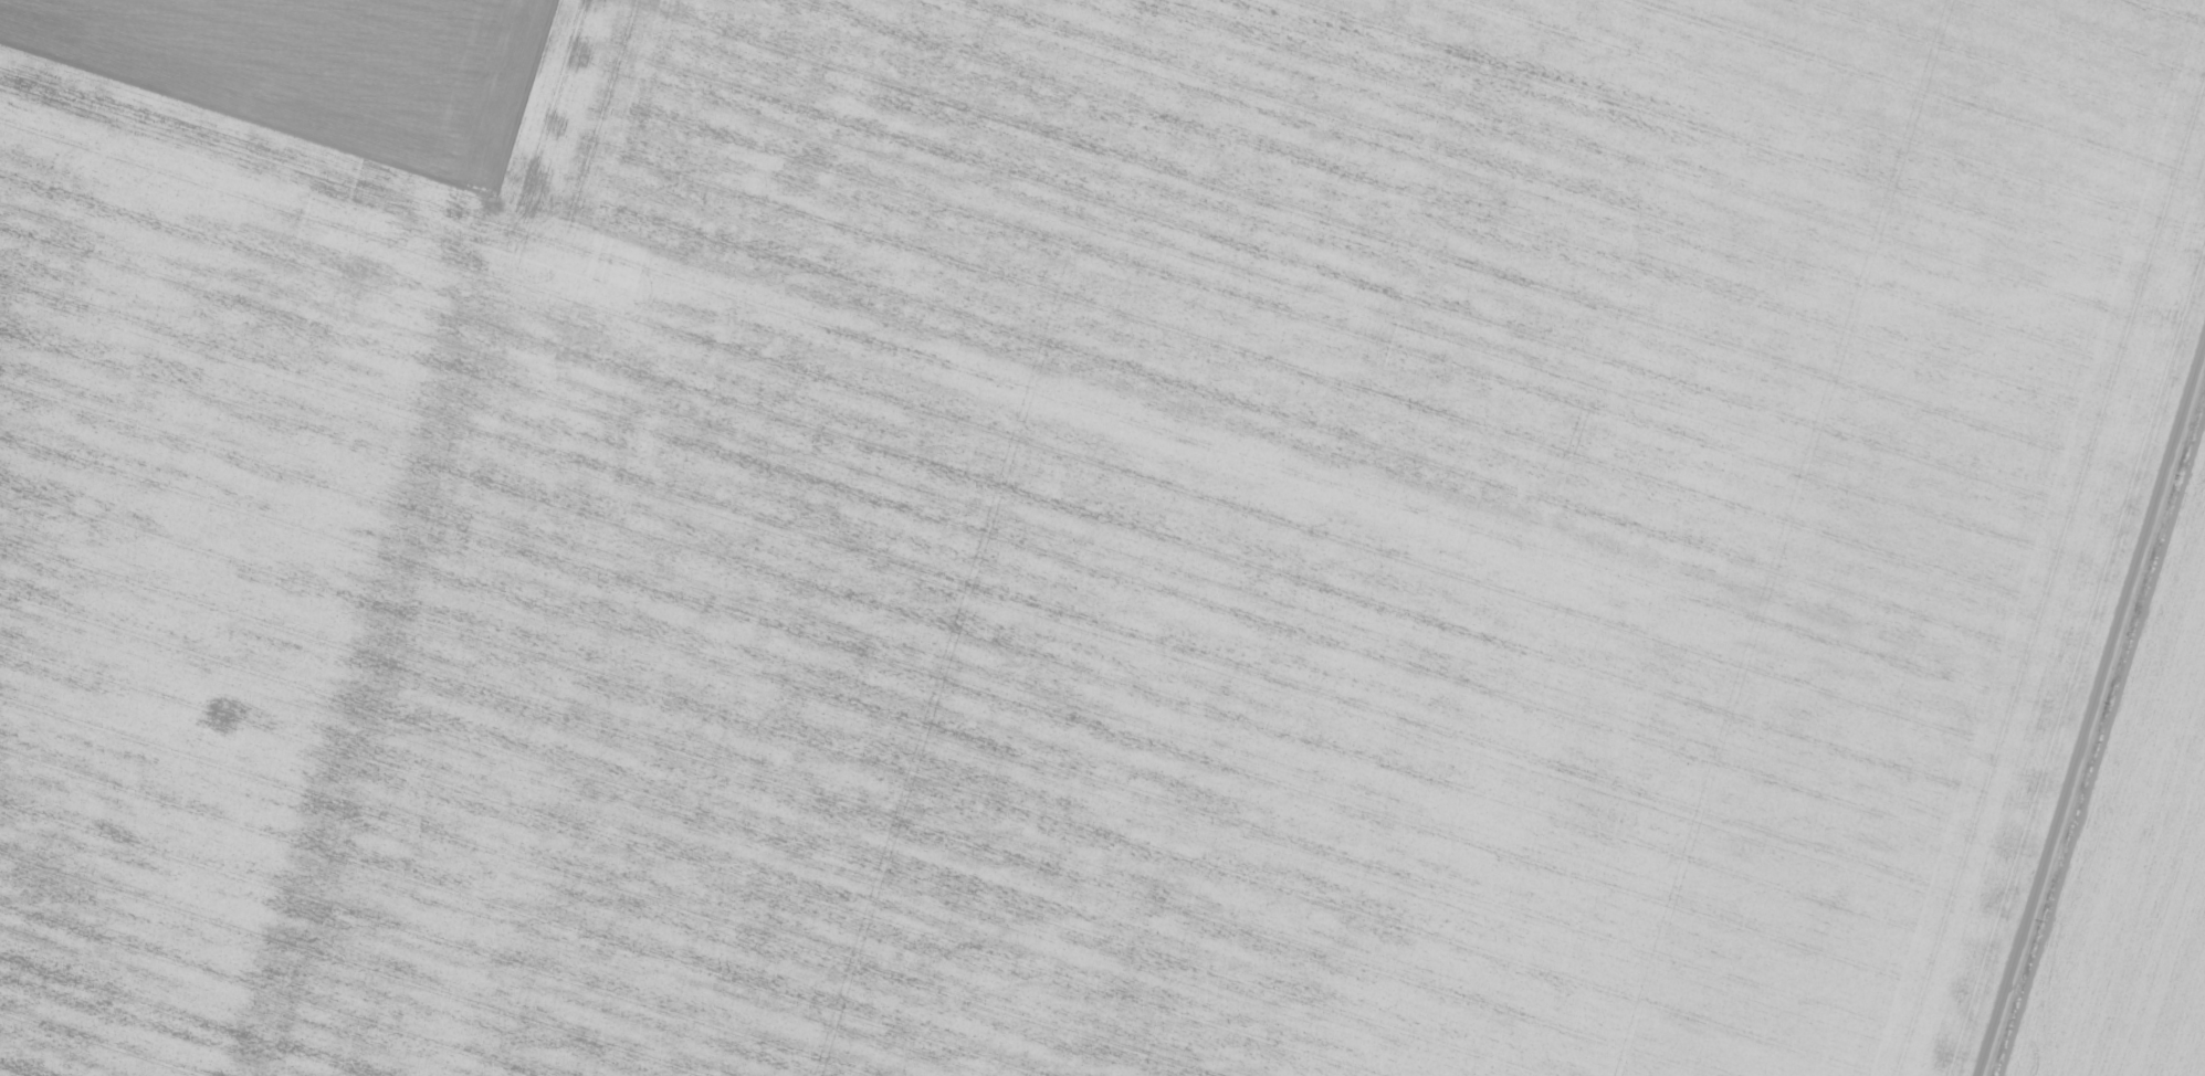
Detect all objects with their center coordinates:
road: (2112, 772)

